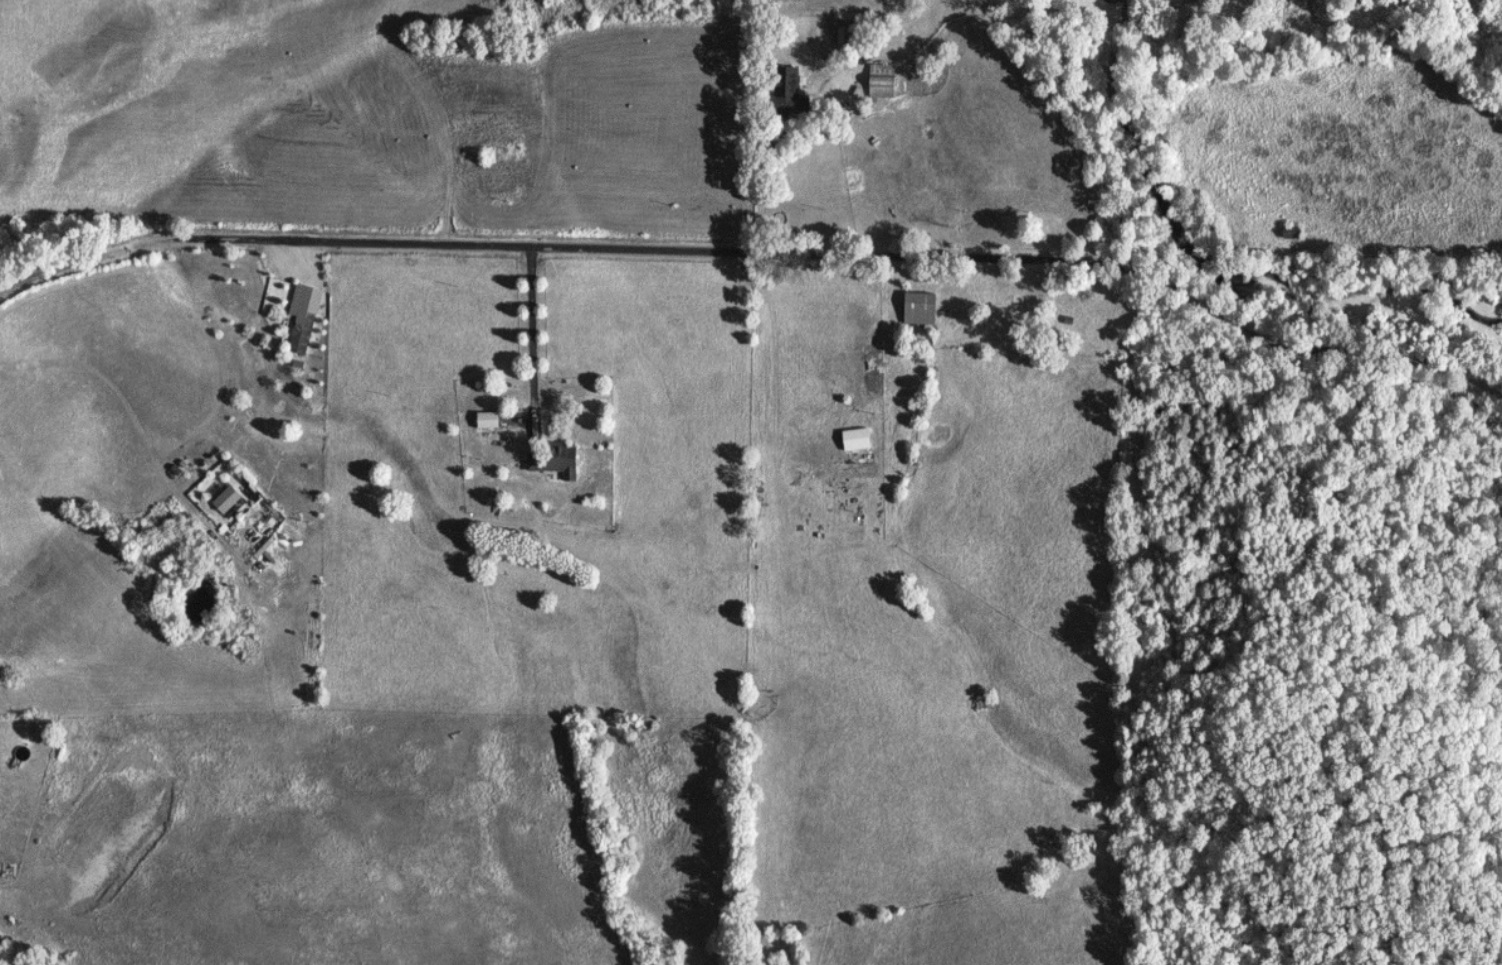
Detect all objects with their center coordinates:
building: (853, 29)
building: (798, 99)
road: (759, 172)
road: (765, 254)
road: (12, 281)
building: (917, 309)
building: (306, 317)
road: (528, 332)
building: (492, 421)
building: (854, 439)
building: (560, 463)
building: (230, 499)

